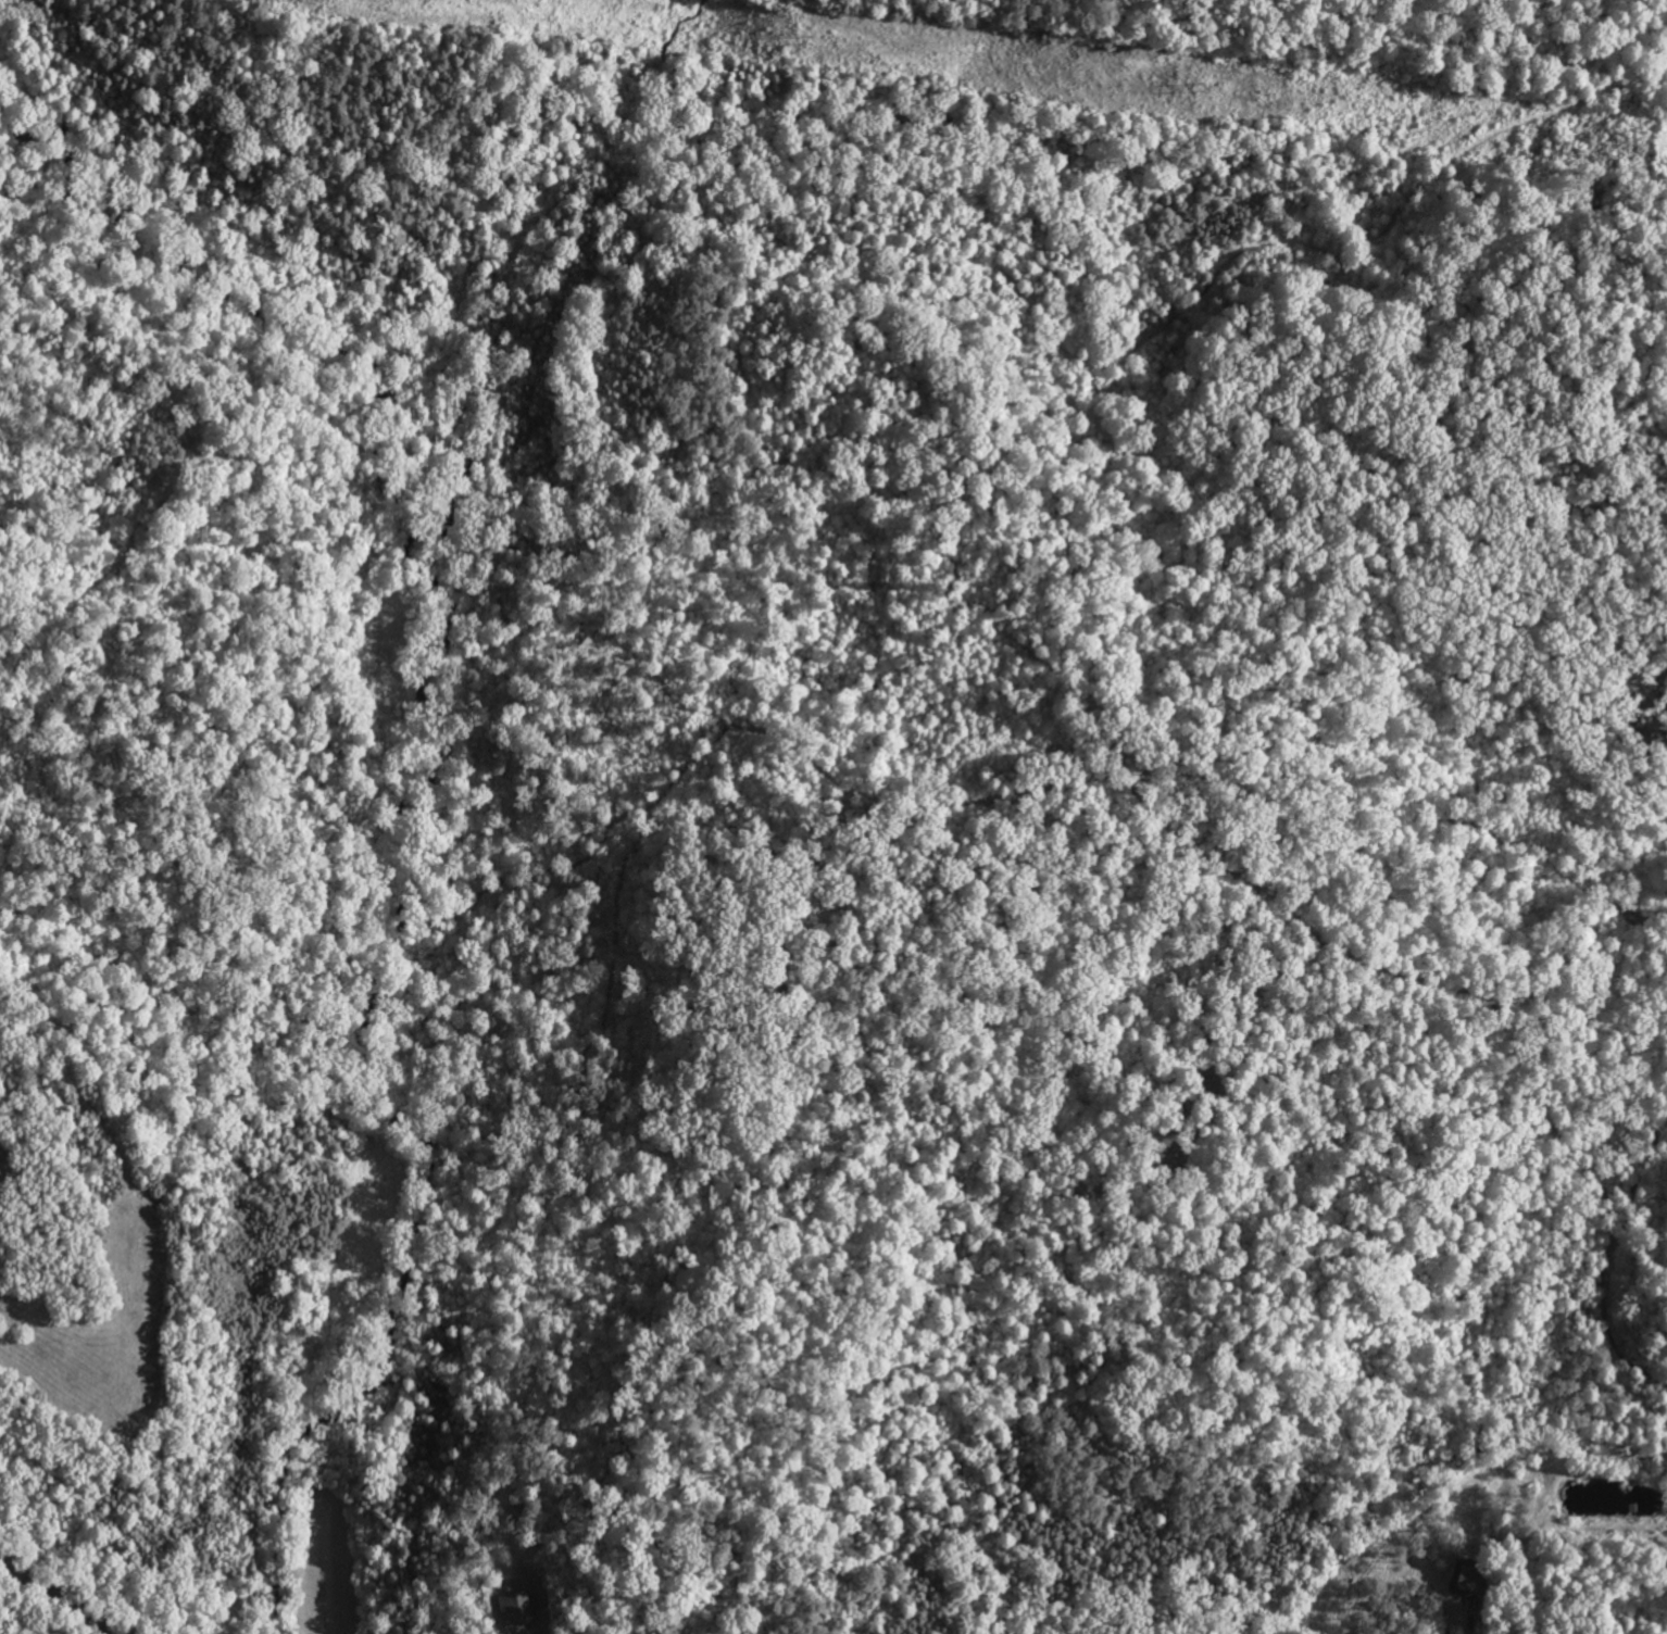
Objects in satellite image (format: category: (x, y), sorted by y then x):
power tower: (815, 39)
power tower: (1206, 85)
power tower: (1642, 140)
building: (2, 1168)
building: (1466, 1583)
road: (59, 1595)
building: (515, 1611)

